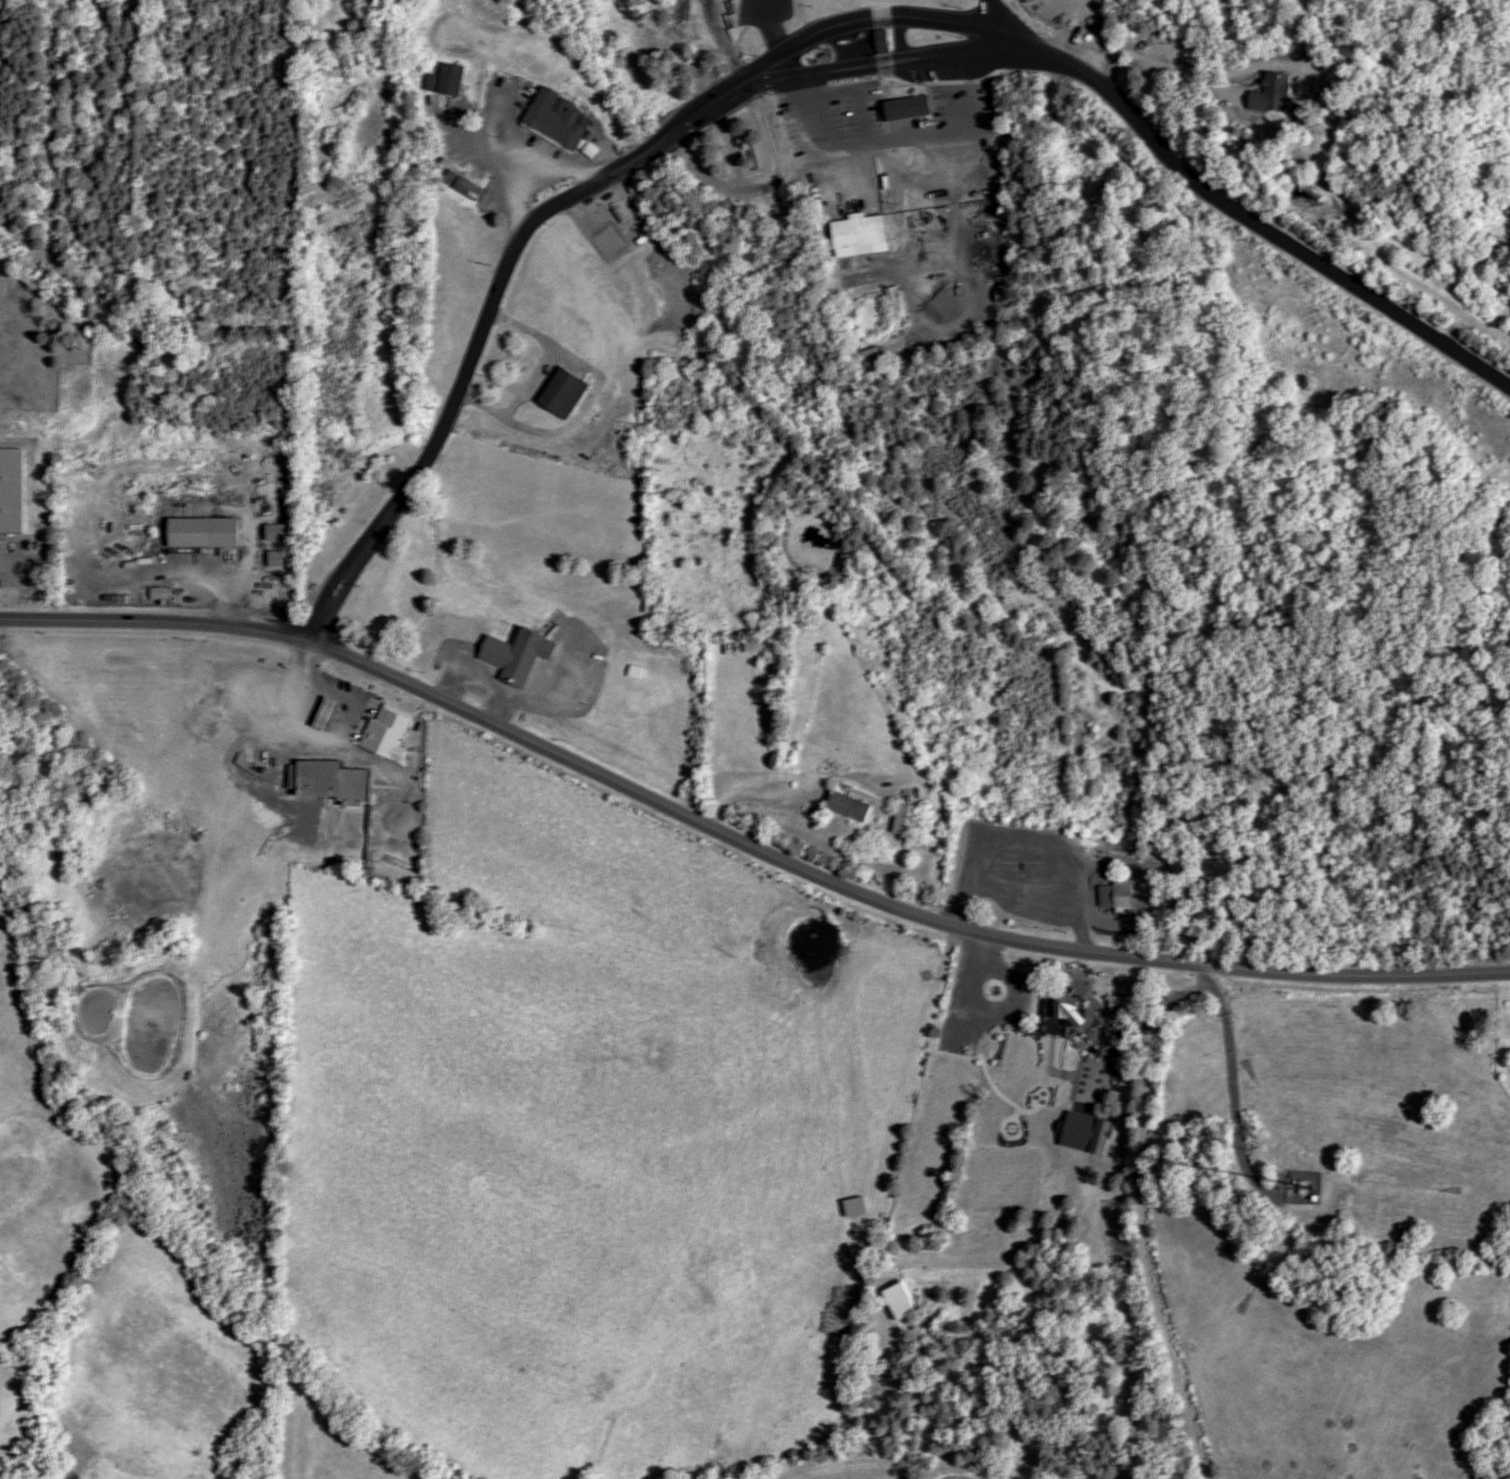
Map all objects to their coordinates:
road: (901, 20)
road: (1006, 24)
road: (727, 41)
building: (887, 41)
road: (780, 43)
road: (1152, 60)
road: (818, 72)
building: (456, 81)
building: (1266, 93)
building: (914, 108)
building: (560, 120)
road: (492, 164)
road: (538, 171)
building: (866, 235)
building: (900, 302)
building: (569, 393)
building: (231, 473)
building: (203, 474)
building: (211, 531)
building: (3, 567)
building: (524, 654)
building: (128, 657)
building: (760, 659)
building: (394, 734)
building: (340, 780)
building: (842, 806)
building: (902, 820)
building: (314, 827)
road: (741, 842)
building: (1010, 884)
building: (1116, 887)
building: (1061, 1007)
building: (1298, 1188)
road: (1170, 1222)
building: (893, 1301)

